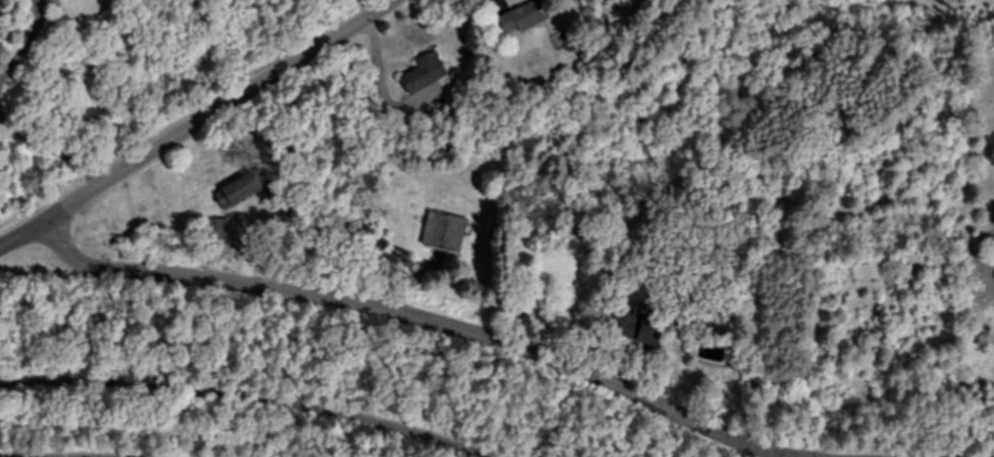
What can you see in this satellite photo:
road: (398, 0)
building: (615, 0)
building: (526, 16)
building: (0, 23)
road: (26, 45)
building: (424, 74)
road: (200, 125)
road: (50, 150)
building: (237, 192)
building: (218, 229)
building: (444, 232)
road: (70, 245)
road: (401, 318)
building: (636, 327)
road: (244, 398)

